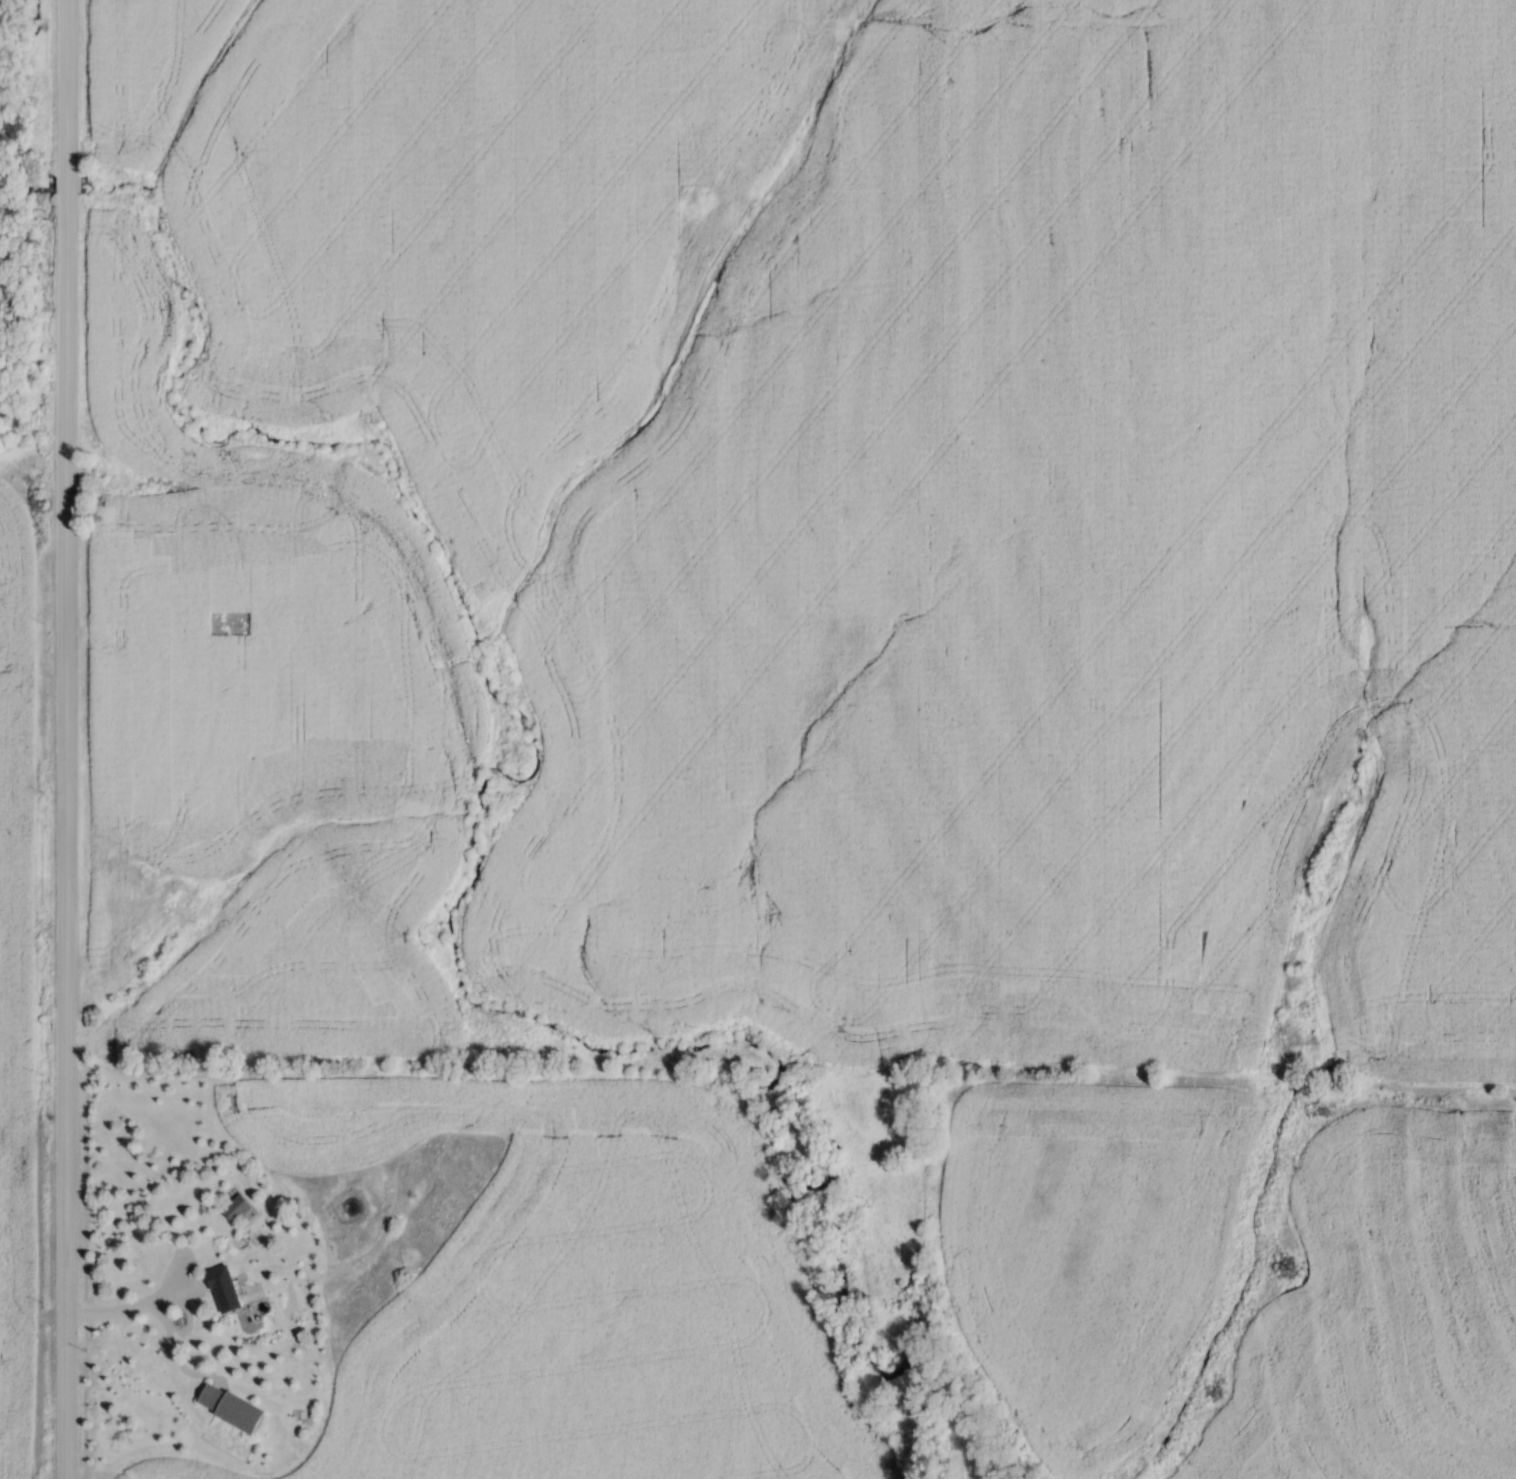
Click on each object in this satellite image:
road: (65, 739)
building: (235, 1208)
building: (221, 1289)
road: (136, 1305)
building: (228, 1408)

